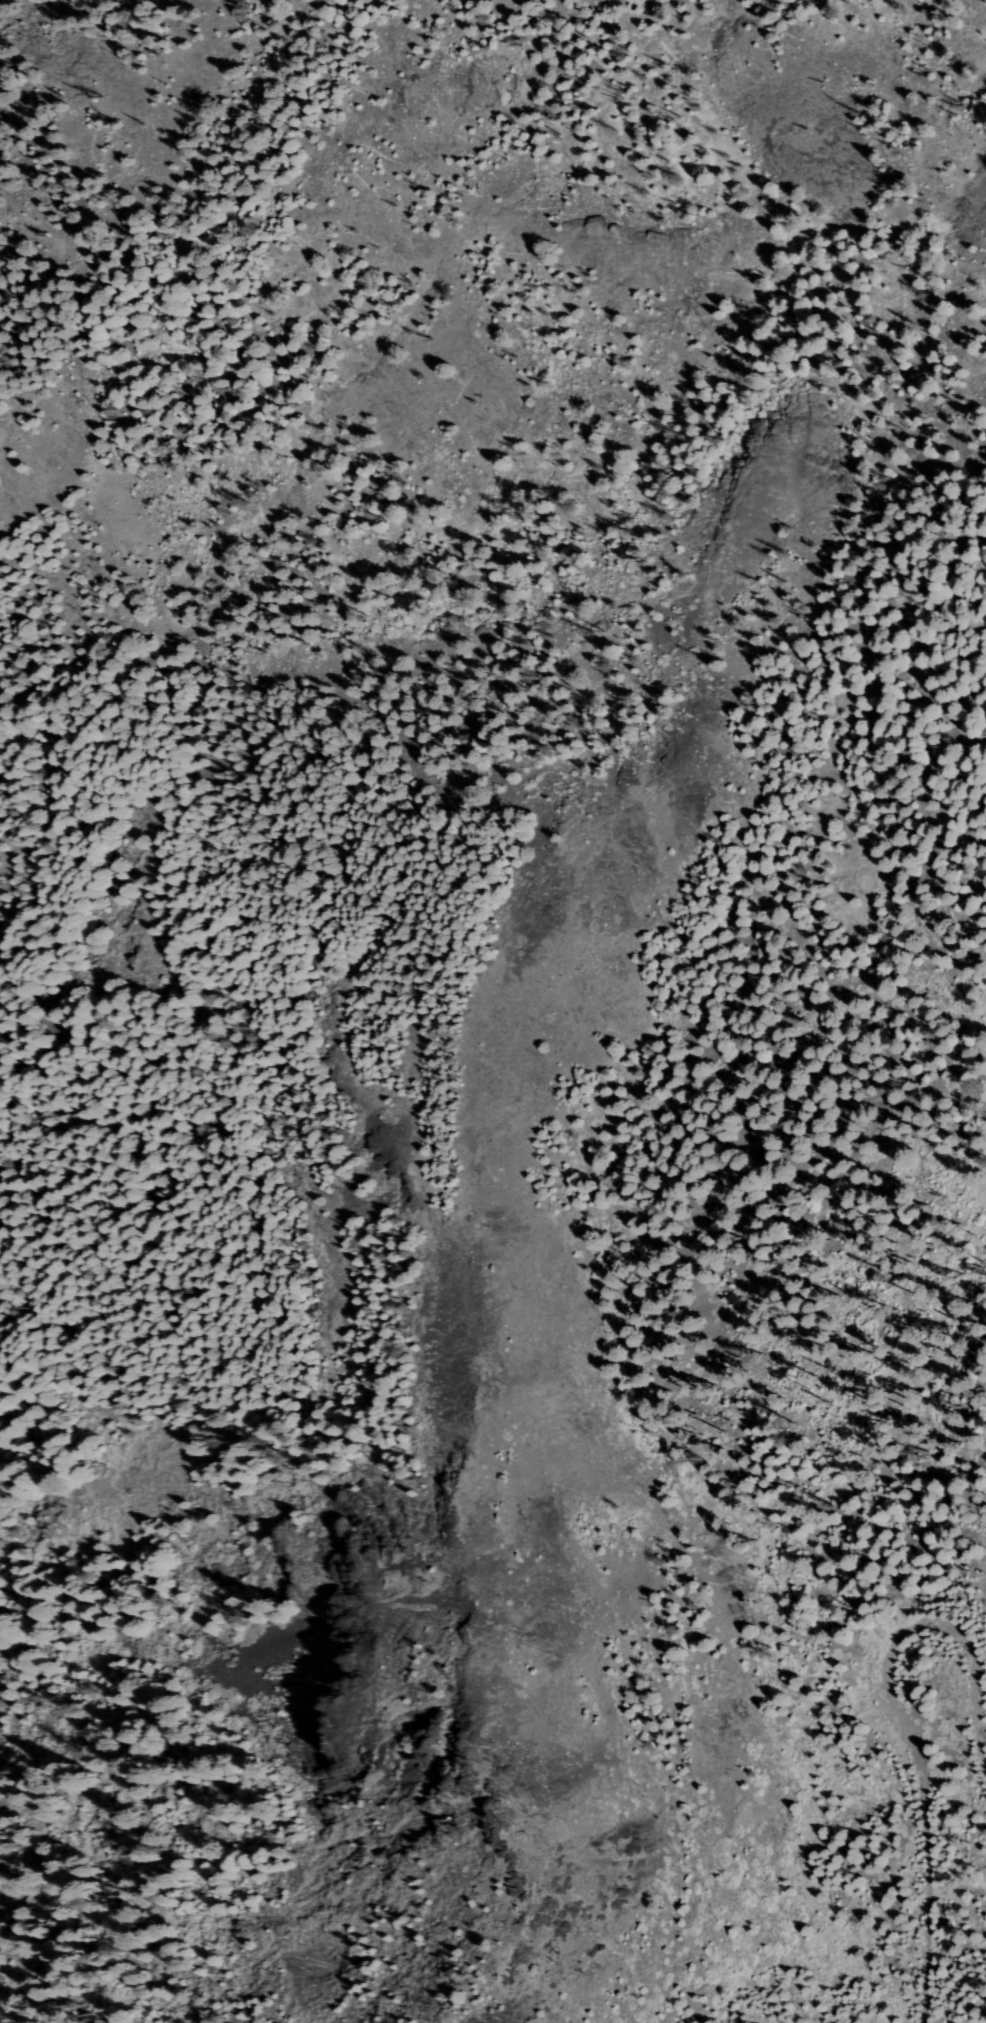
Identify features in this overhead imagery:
road: (913, 1730)

